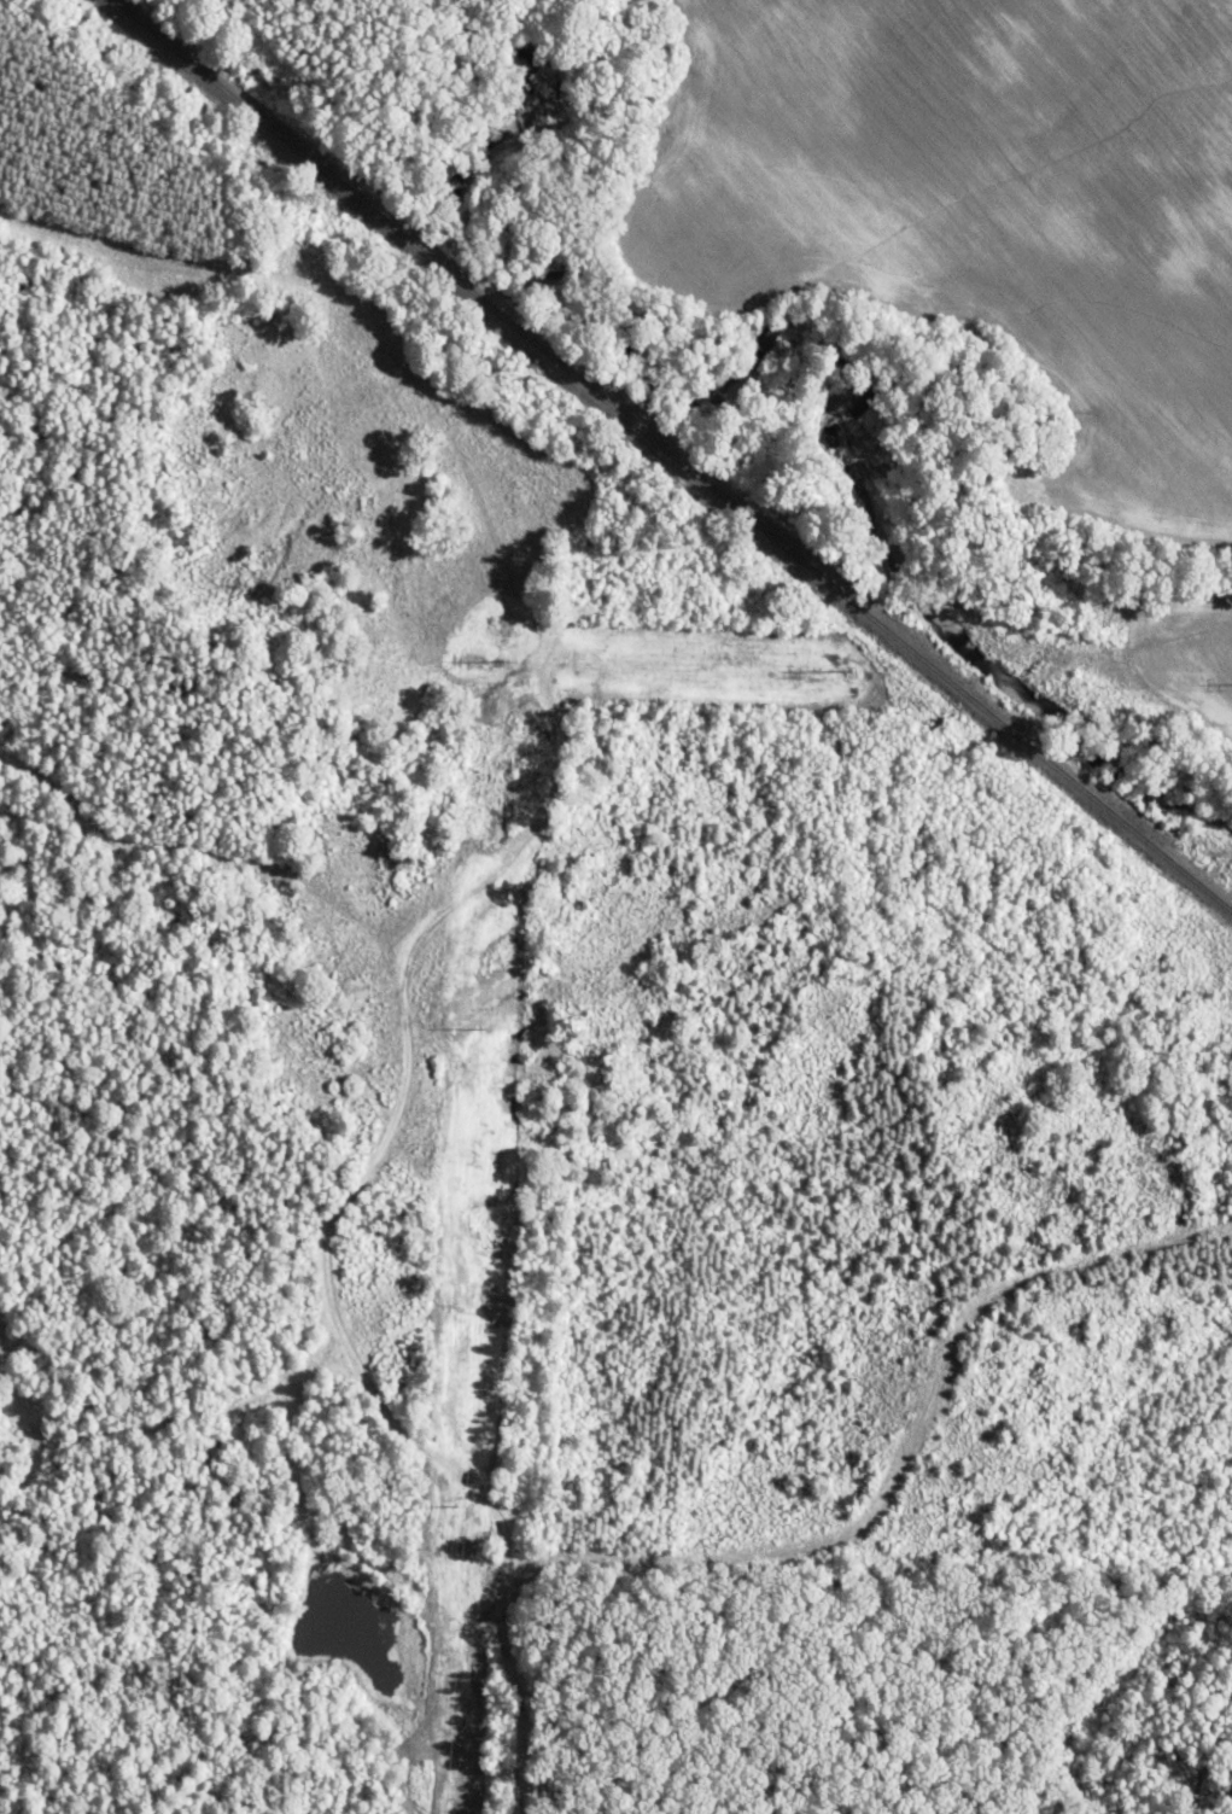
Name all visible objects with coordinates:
railway: (673, 454)

